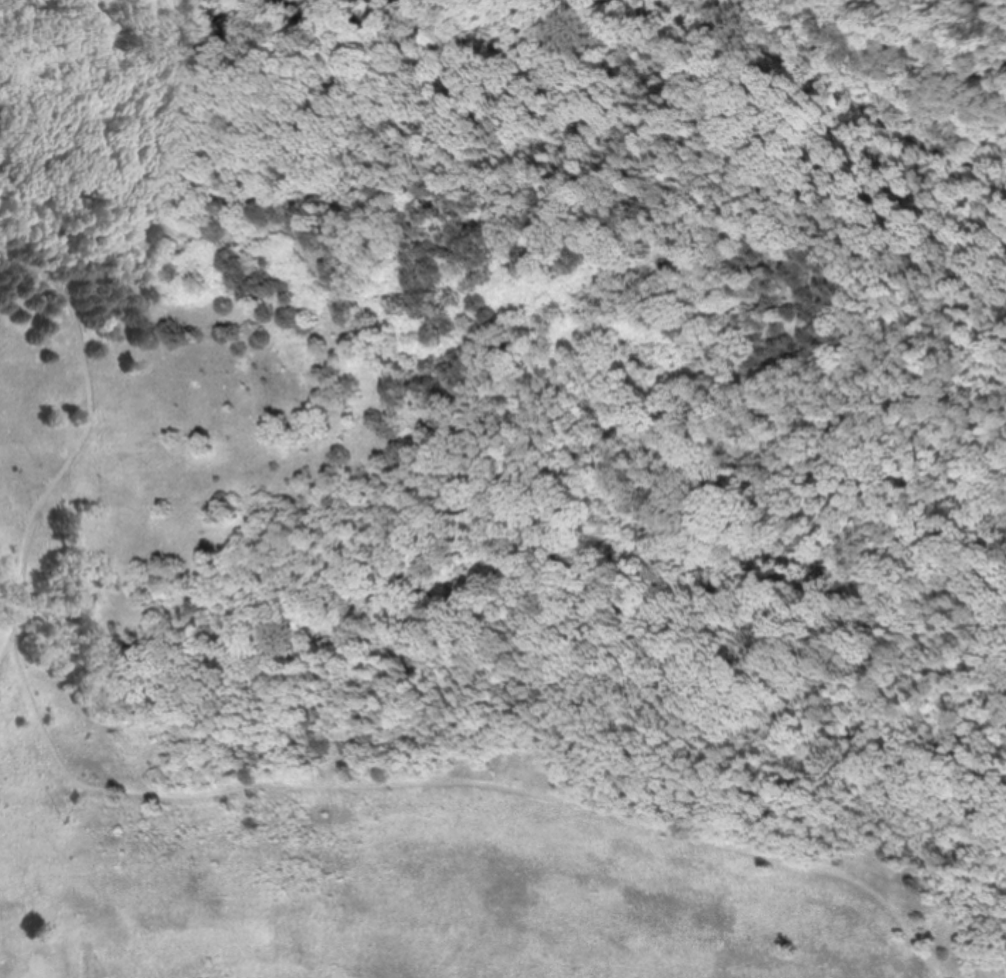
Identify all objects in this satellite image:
road: (638, 5)
road: (919, 47)
road: (846, 91)
road: (375, 189)
road: (834, 410)
road: (79, 446)
park: (503, 489)
road: (360, 568)
road: (455, 782)

